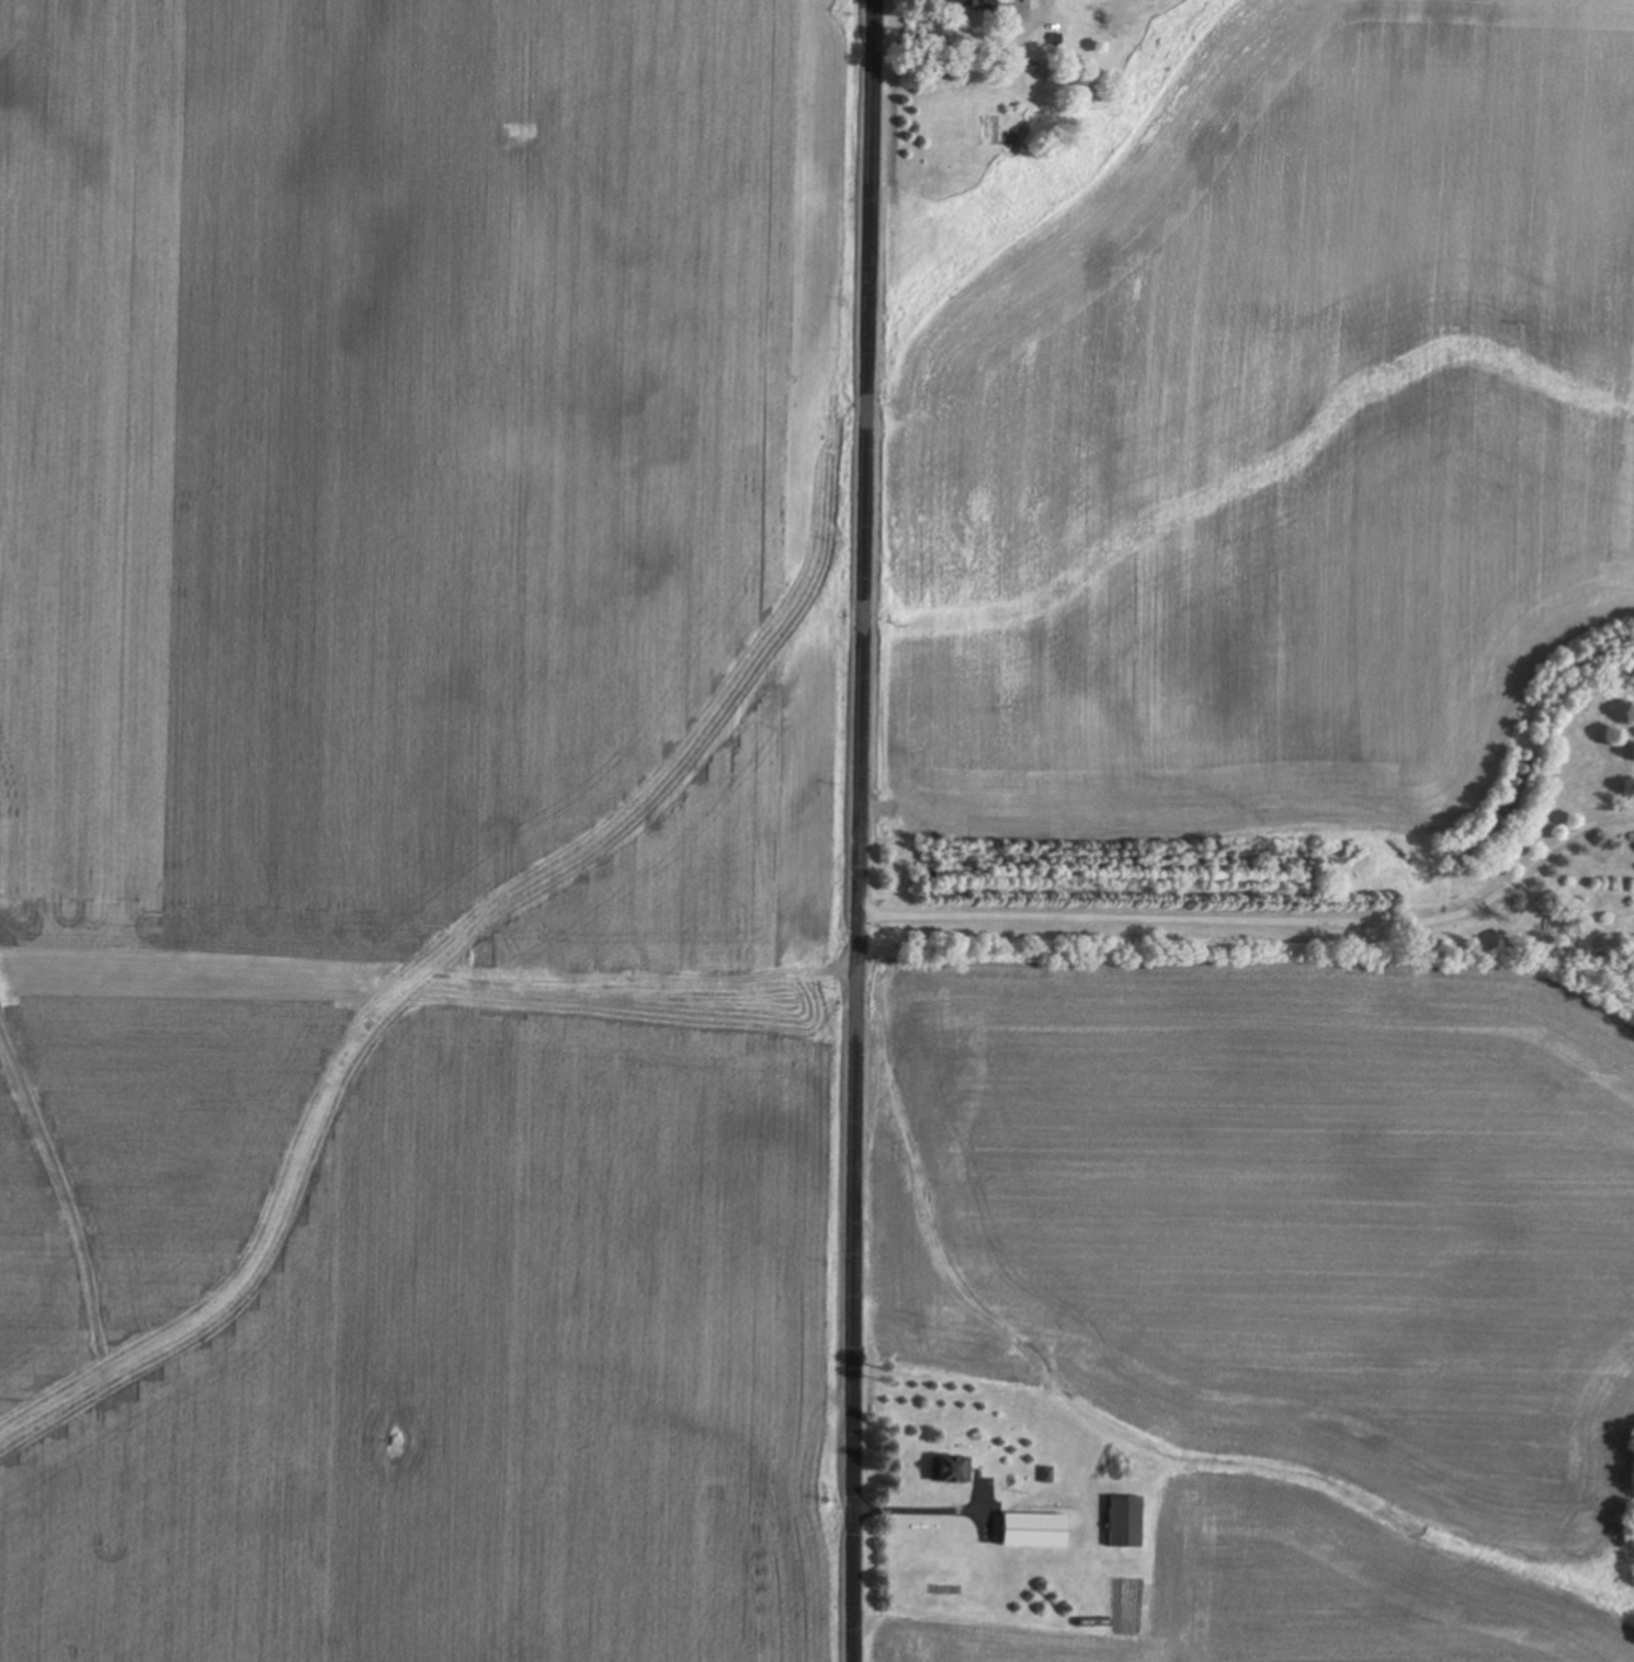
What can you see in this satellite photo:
building: (973, 4)
building: (1094, 15)
building: (1071, 52)
building: (1042, 72)
road: (861, 830)
building: (956, 1471)
building: (1126, 1524)
building: (1036, 1533)

